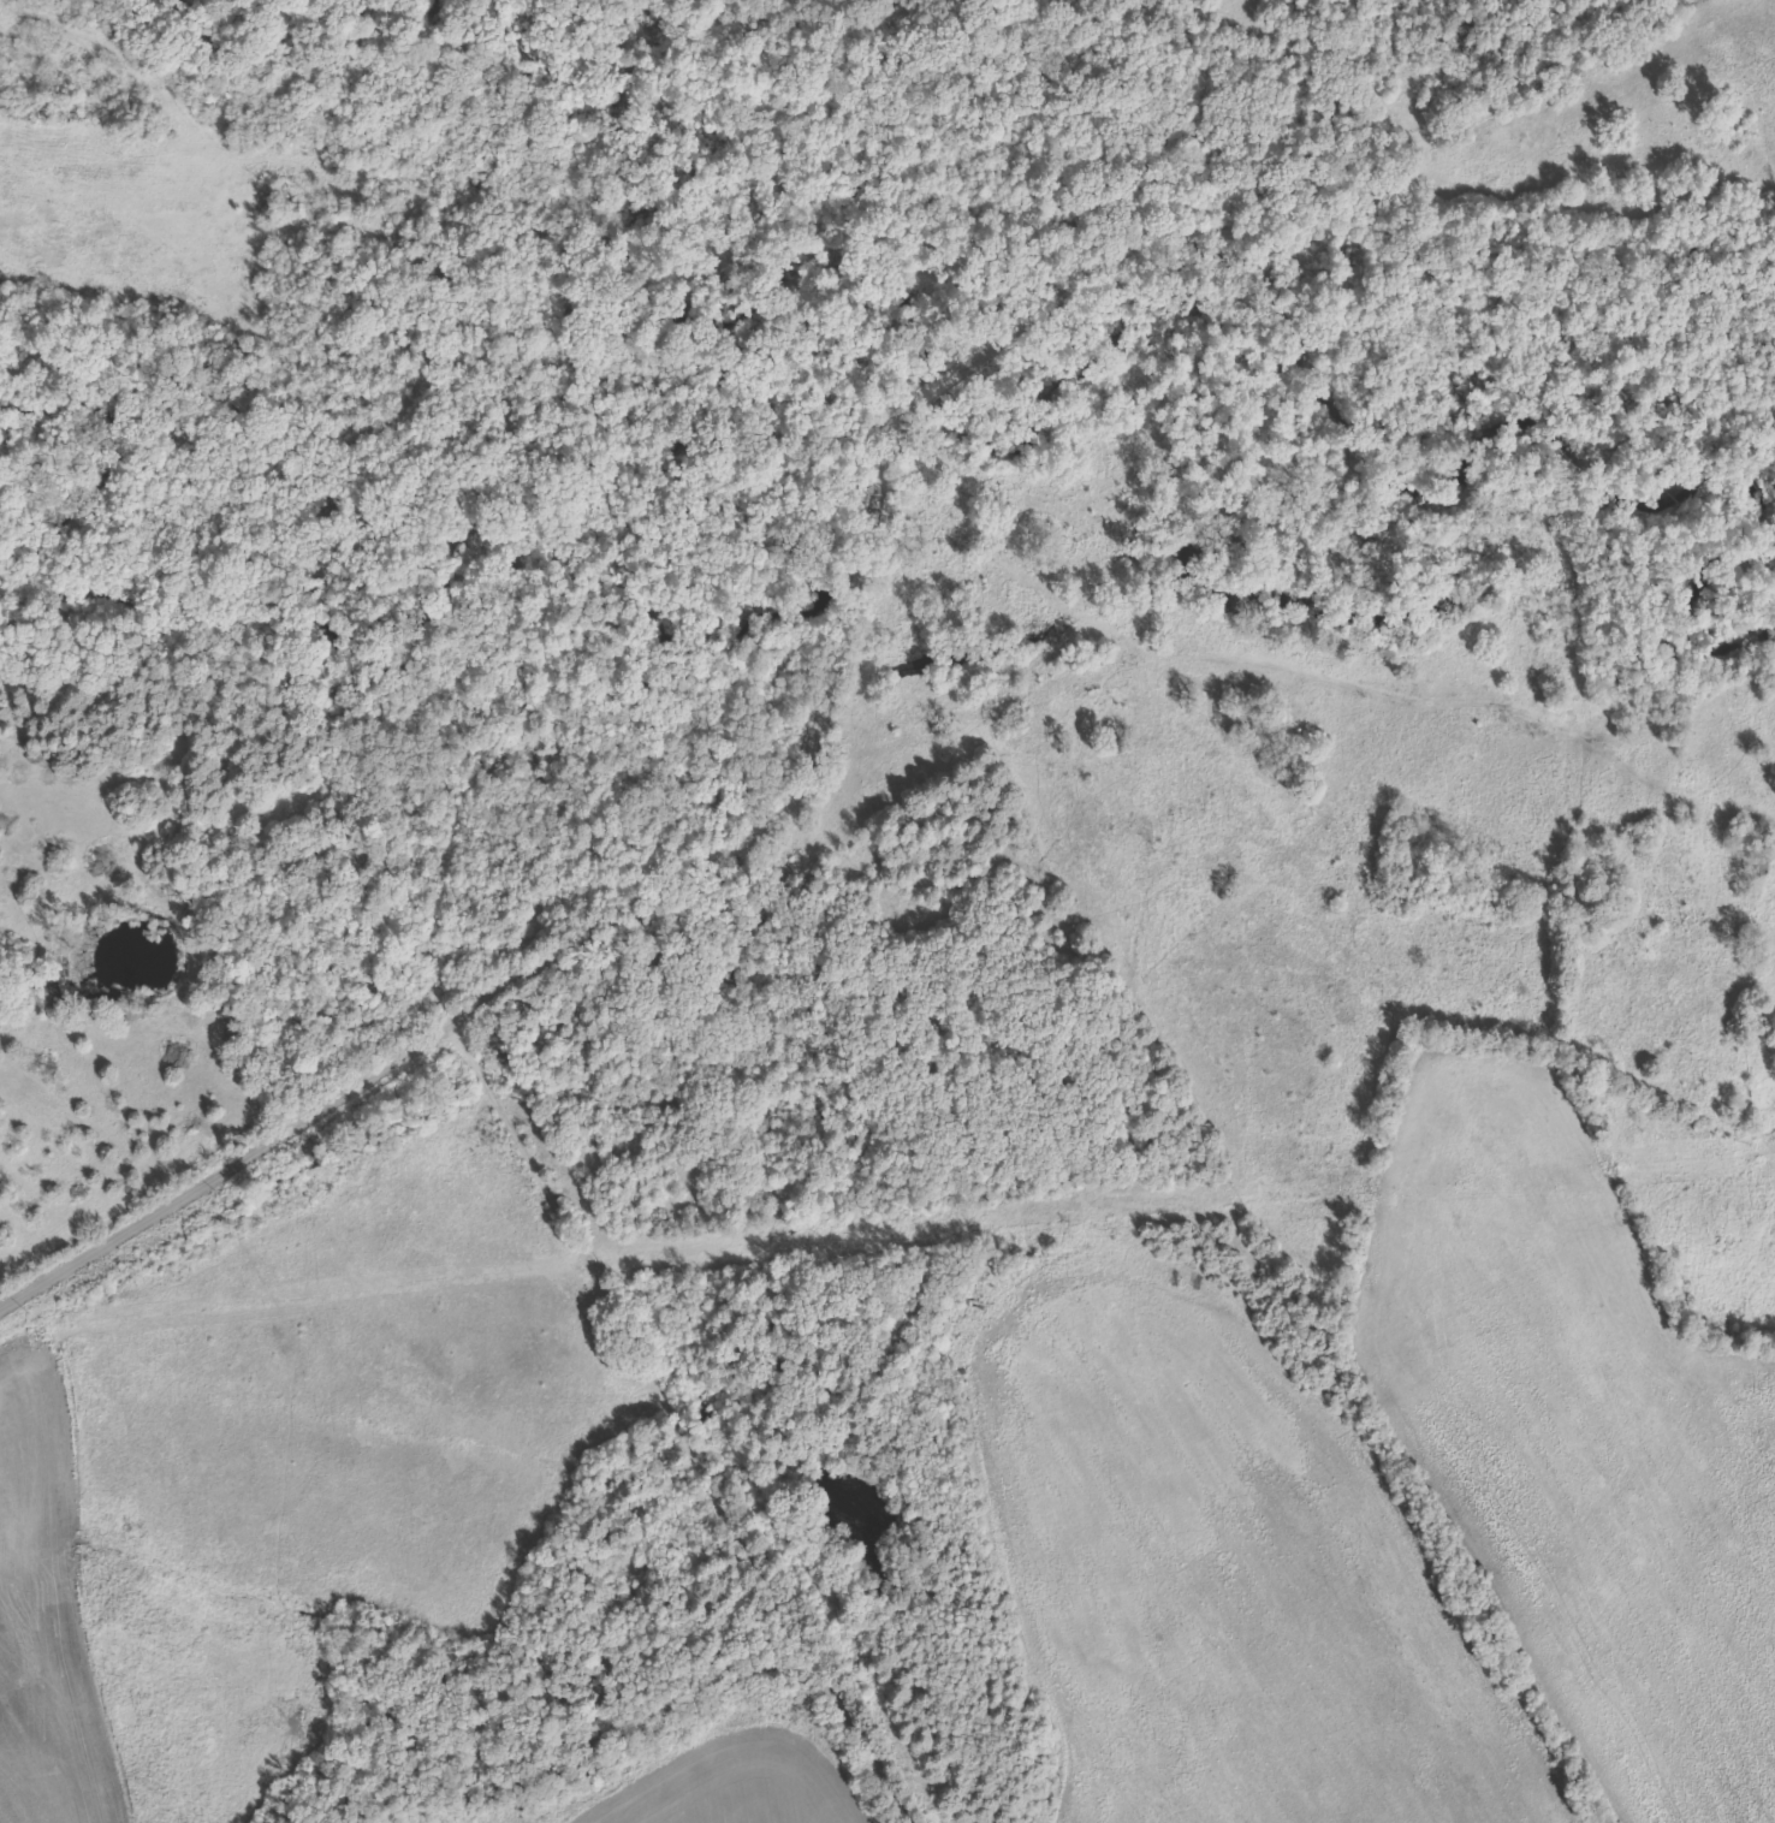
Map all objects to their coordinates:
road: (904, 360)
road: (1287, 654)
building: (1756, 866)
road: (153, 1205)
road: (600, 1275)

